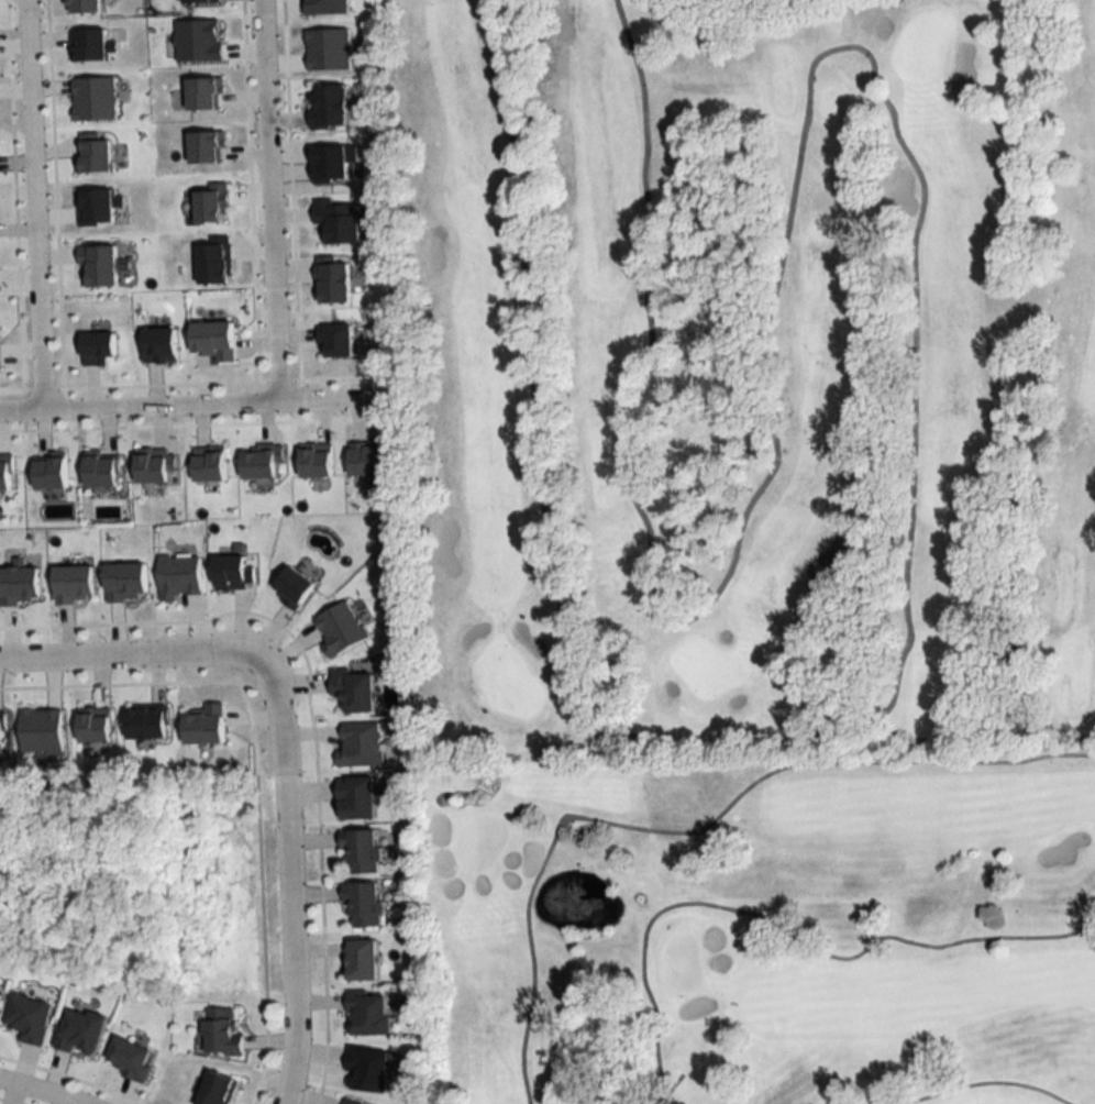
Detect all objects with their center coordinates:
road: (275, 198)
road: (37, 202)
road: (767, 303)
park: (741, 367)
road: (189, 399)
road: (558, 628)
road: (1003, 702)
road: (280, 744)
building: (363, 851)
building: (364, 904)
park: (755, 921)
building: (0, 992)
building: (370, 1012)
building: (221, 1033)
building: (219, 1089)
road: (40, 1091)
building: (352, 1102)

